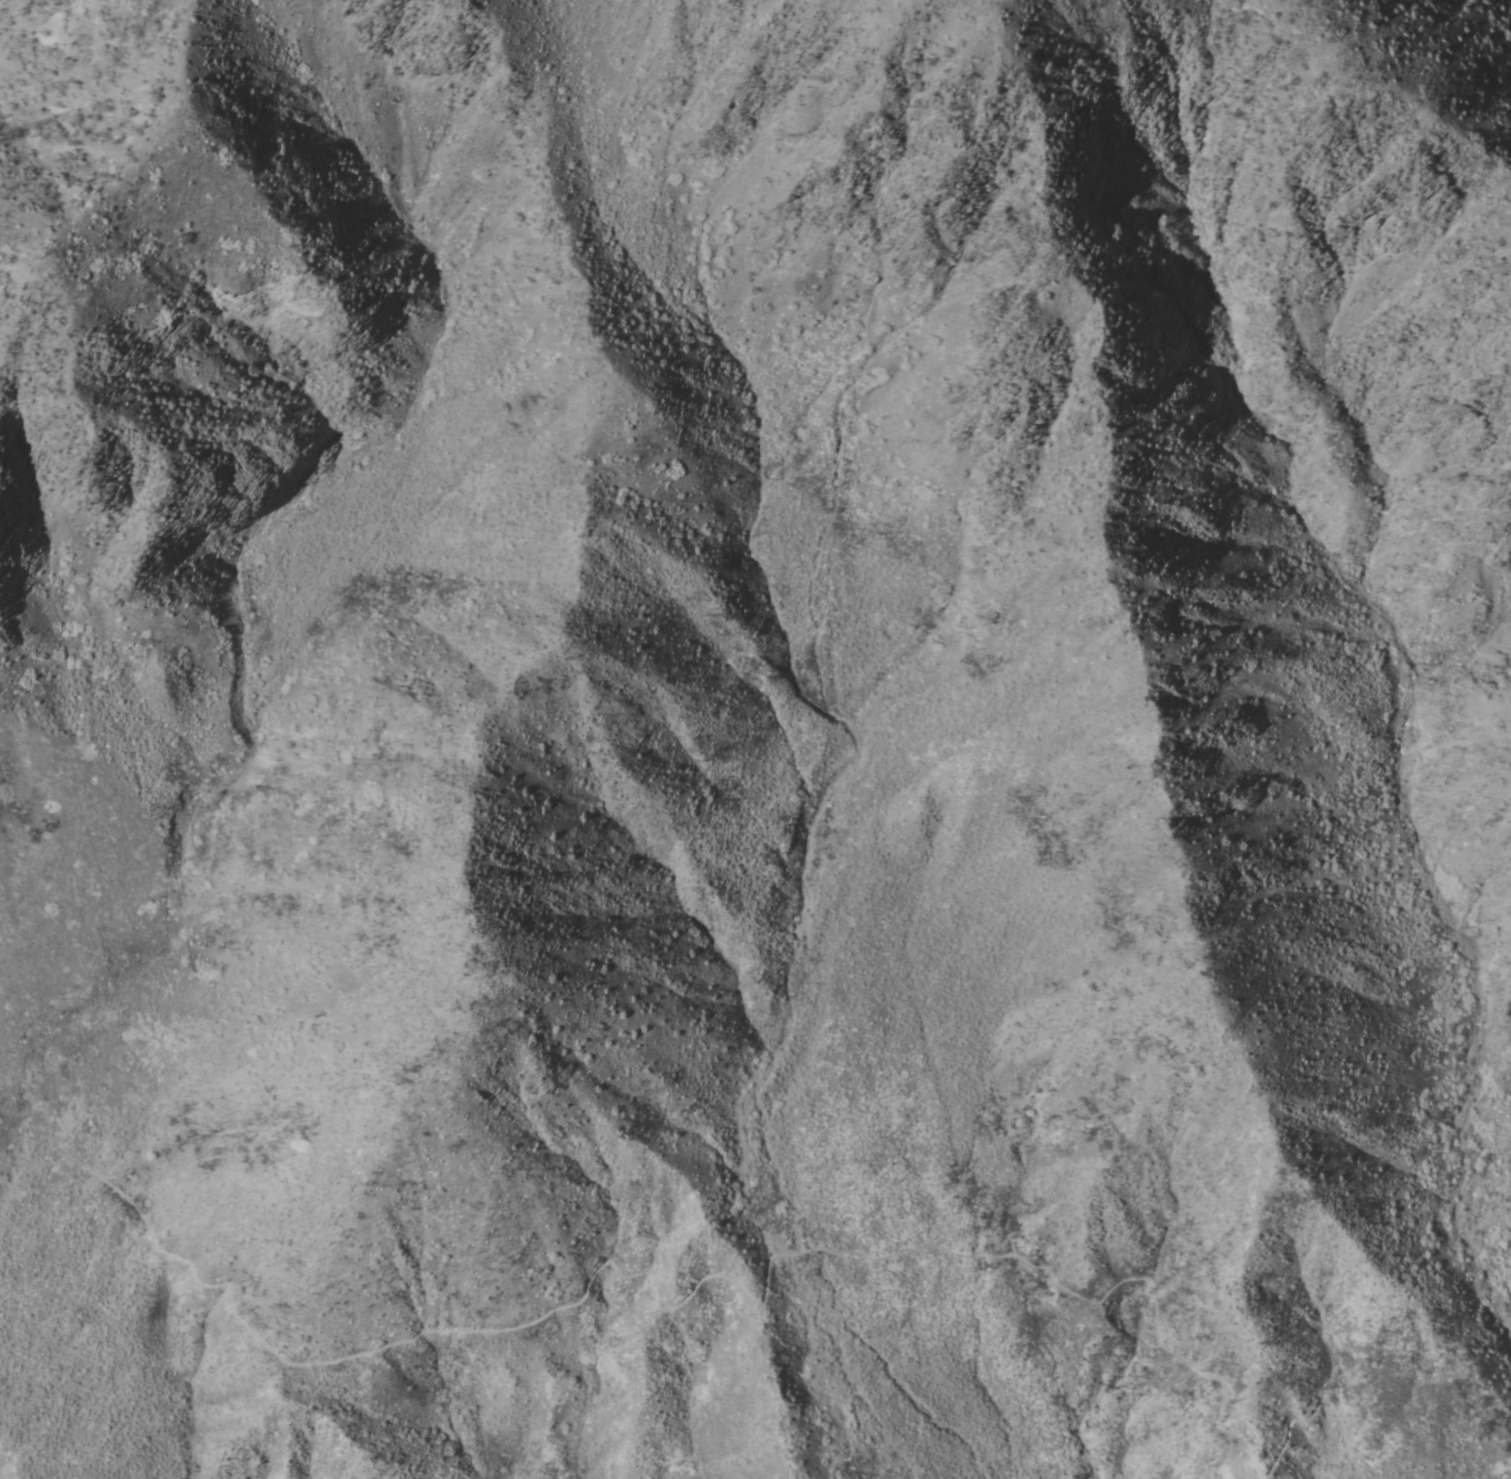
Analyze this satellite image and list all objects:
road: (730, 1279)

